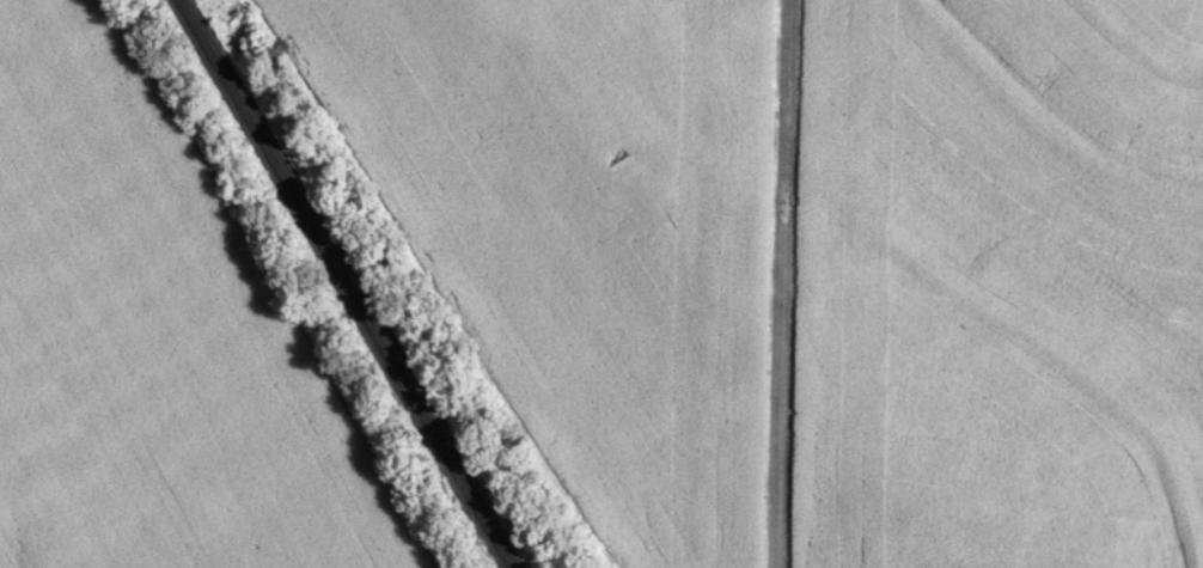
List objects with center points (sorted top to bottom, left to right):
railway: (347, 283)
road: (777, 283)

